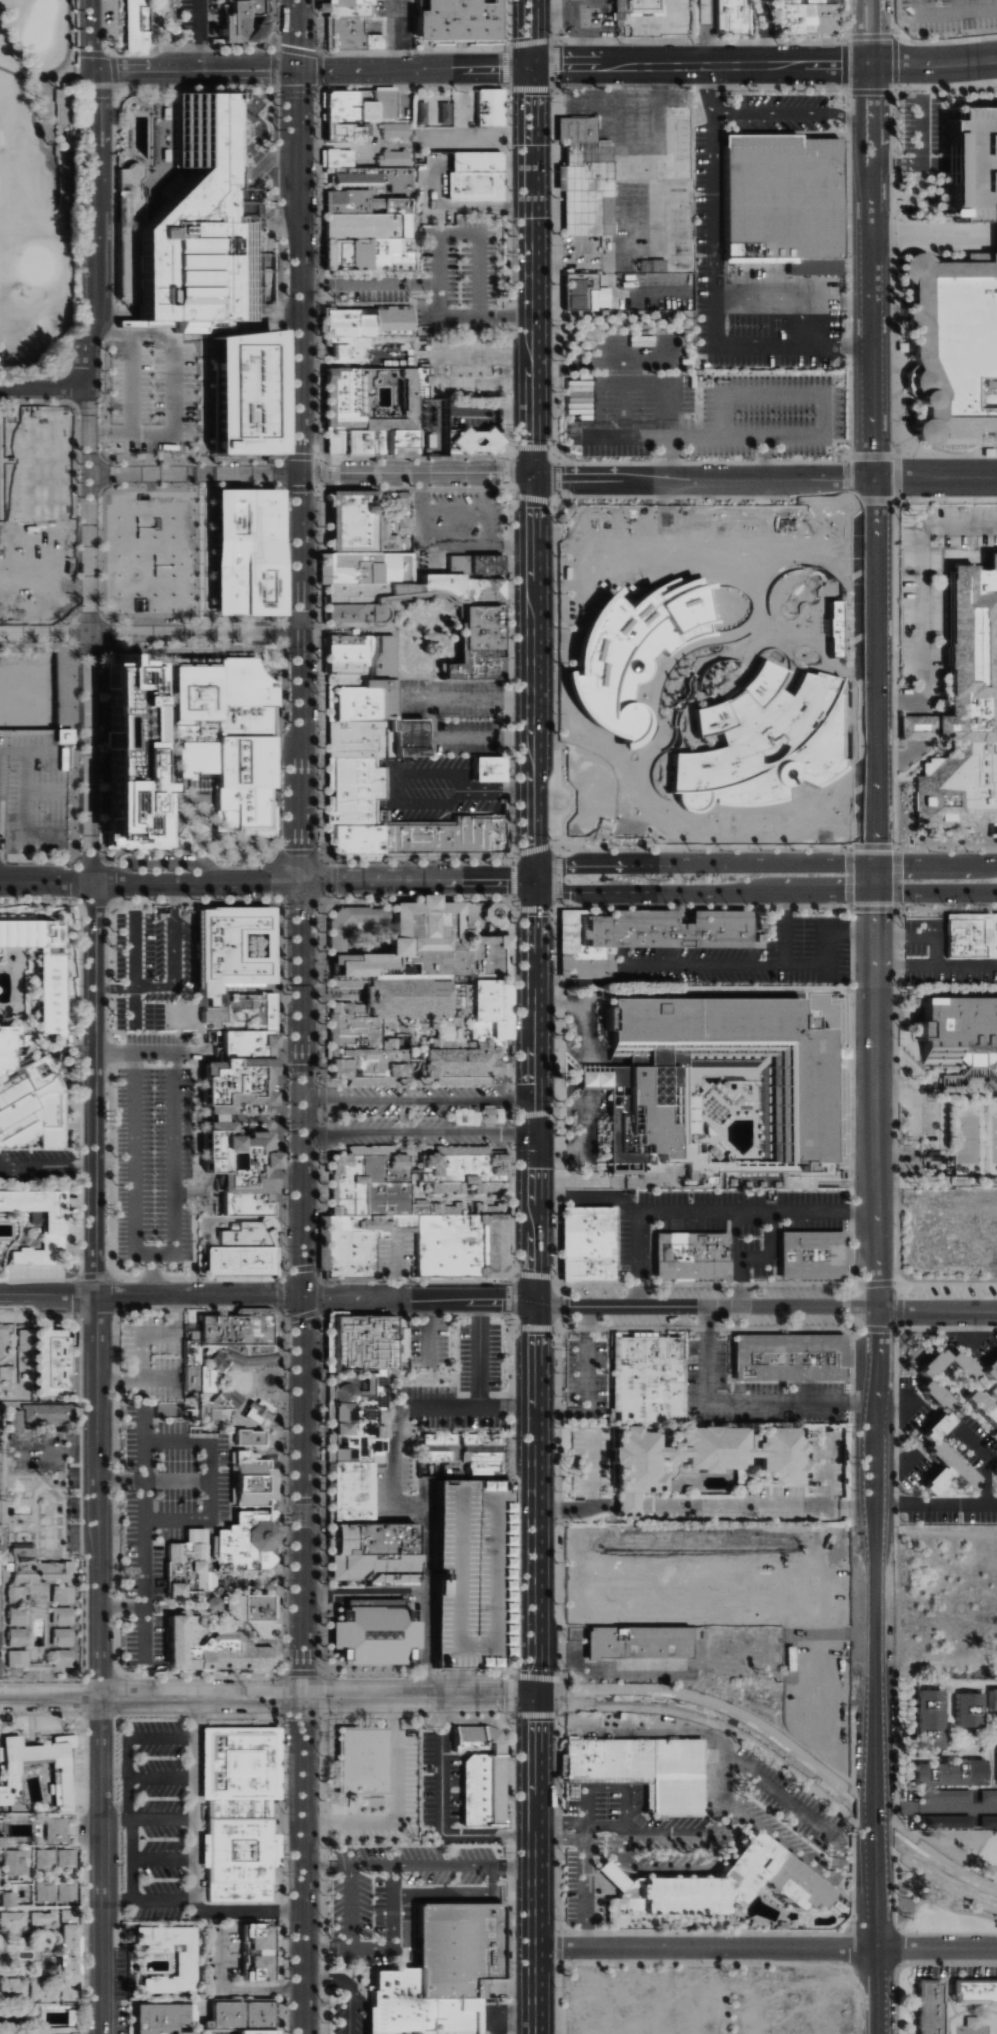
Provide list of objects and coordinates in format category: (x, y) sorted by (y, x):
road: (996, 5)
road: (959, 7)
building: (638, 8)
building: (347, 9)
road: (953, 15)
road: (551, 16)
parking lot: (948, 16)
building: (731, 18)
building: (804, 18)
building: (454, 20)
parking lot: (202, 21)
building: (243, 21)
building: (135, 26)
road: (526, 32)
road: (576, 32)
road: (700, 32)
road: (763, 32)
road: (868, 32)
road: (398, 34)
road: (199, 35)
building: (350, 38)
road: (932, 63)
traffic signals: (529, 65)
road: (698, 65)
road: (414, 67)
road: (196, 70)
traffic signals: (299, 70)
road: (116, 85)
road: (868, 93)
building: (243, 103)
building: (358, 106)
road: (941, 107)
building: (488, 108)
road: (791, 111)
building: (397, 130)
building: (344, 131)
parking lot: (939, 144)
building: (974, 152)
building: (395, 157)
building: (328, 159)
building: (133, 176)
building: (474, 177)
park: (37, 178)
building: (375, 180)
building: (994, 180)
road: (247, 191)
road: (94, 202)
building: (780, 202)
building: (361, 203)
road: (933, 205)
road: (977, 208)
building: (367, 227)
building: (196, 229)
building: (366, 257)
road: (438, 260)
road: (530, 272)
parking lot: (458, 279)
road: (714, 281)
road: (369, 284)
building: (588, 292)
road: (870, 300)
building: (367, 325)
road: (238, 328)
building: (954, 343)
building: (350, 353)
road: (133, 384)
road: (175, 384)
road: (20, 387)
building: (257, 393)
parking lot: (161, 394)
parking lot: (706, 414)
power substation: (428, 426)
road: (794, 437)
road: (301, 439)
building: (483, 440)
building: (369, 442)
road: (665, 459)
traffic signals: (301, 473)
road: (311, 473)
road: (702, 479)
road: (934, 479)
traffic signals: (532, 480)
road: (470, 508)
building: (351, 522)
building: (380, 523)
road: (445, 540)
building: (253, 552)
building: (846, 553)
building: (364, 567)
road: (921, 588)
building: (399, 595)
road: (46, 637)
road: (197, 637)
traffic signals: (301, 637)
building: (474, 645)
building: (359, 654)
road: (872, 671)
road: (532, 679)
road: (469, 696)
building: (357, 697)
road: (899, 701)
building: (964, 714)
building: (66, 733)
road: (486, 735)
building: (232, 736)
building: (374, 738)
building: (142, 760)
road: (901, 762)
building: (486, 769)
road: (179, 788)
parking lot: (33, 794)
building: (349, 805)
road: (762, 863)
traffic signals: (873, 864)
road: (873, 877)
traffic signals: (532, 878)
road: (416, 879)
traffic signals: (301, 880)
road: (150, 881)
road: (701, 891)
traffic signals: (874, 891)
road: (935, 891)
building: (493, 913)
road: (919, 936)
building: (640, 937)
building: (971, 937)
building: (334, 940)
building: (428, 945)
road: (827, 946)
building: (229, 949)
road: (137, 953)
road: (743, 963)
road: (935, 965)
building: (45, 967)
road: (175, 973)
road: (587, 1009)
building: (211, 1015)
building: (362, 1035)
building: (959, 1039)
building: (11, 1047)
road: (586, 1081)
building: (631, 1081)
road: (417, 1099)
building: (35, 1107)
building: (476, 1116)
building: (219, 1125)
road: (417, 1132)
road: (920, 1132)
park: (974, 1141)
road: (172, 1143)
road: (583, 1145)
parking lot: (39, 1168)
road: (48, 1168)
building: (462, 1171)
road: (97, 1184)
road: (588, 1195)
road: (664, 1210)
road: (751, 1210)
road: (766, 1214)
building: (399, 1221)
building: (52, 1231)
building: (248, 1233)
building: (587, 1243)
building: (812, 1254)
building: (691, 1255)
building: (240, 1260)
road: (395, 1265)
road: (151, 1296)
traffic signals: (302, 1296)
road: (900, 1306)
road: (649, 1307)
road: (429, 1329)
road: (948, 1329)
building: (233, 1330)
building: (4, 1336)
building: (25, 1340)
building: (357, 1342)
building: (240, 1355)
building: (788, 1356)
building: (54, 1362)
building: (190, 1364)
building: (990, 1367)
building: (8, 1370)
fountain: (269, 1378)
building: (205, 1379)
building: (924, 1379)
road: (478, 1380)
building: (645, 1380)
road: (746, 1402)
building: (216, 1405)
building: (981, 1408)
building: (257, 1410)
building: (188, 1412)
building: (44, 1415)
building: (357, 1415)
building: (1, 1424)
building: (250, 1438)
building: (460, 1452)
building: (704, 1454)
road: (534, 1455)
road: (302, 1457)
building: (942, 1459)
road: (211, 1462)
road: (876, 1462)
building: (0, 1471)
building: (994, 1471)
road: (176, 1477)
building: (250, 1479)
building: (348, 1491)
road: (902, 1503)
road: (962, 1503)
road: (632, 1505)
road: (760, 1505)
road: (577, 1506)
road: (416, 1508)
road: (143, 1520)
building: (369, 1538)
building: (246, 1542)
building: (41, 1567)
building: (372, 1569)
building: (188, 1570)
building: (471, 1573)
parking garage: (471, 1573)
building: (0, 1588)
building: (64, 1594)
building: (19, 1604)
road: (143, 1611)
building: (253, 1612)
building: (63, 1615)
building: (373, 1632)
building: (18, 1636)
building: (63, 1636)
building: (643, 1641)
building: (209, 1648)
building: (19, 1657)
building: (64, 1658)
road: (458, 1682)
road: (559, 1684)
traffic signals: (537, 1694)
road: (268, 1697)
traffic signals: (303, 1697)
building: (991, 1700)
road: (508, 1708)
building: (966, 1709)
road: (532, 1719)
building: (927, 1719)
road: (144, 1736)
building: (996, 1753)
building: (360, 1761)
building: (641, 1769)
building: (480, 1772)
building: (947, 1772)
building: (60, 1775)
road: (163, 1777)
road: (723, 1782)
building: (943, 1795)
building: (987, 1795)
road: (196, 1803)
road: (935, 1808)
building: (238, 1811)
road: (439, 1812)
road: (130, 1813)
building: (942, 1821)
building: (987, 1821)
road: (619, 1826)
building: (58, 1829)
road: (581, 1829)
road: (132, 1843)
road: (723, 1843)
building: (46, 1857)
building: (68, 1858)
road: (165, 1858)
building: (17, 1861)
road: (419, 1861)
building: (0, 1876)
park: (946, 1881)
building: (713, 1886)
road: (590, 1888)
building: (46, 1890)
building: (68, 1891)
road: (459, 1892)
building: (11, 1898)
road: (117, 1899)
road: (158, 1899)
road: (348, 1904)
road: (241, 1909)
building: (44, 1918)
building: (14, 1921)
road: (390, 1946)
road: (766, 1948)
building: (255, 1951)
building: (72, 1954)
building: (184, 1965)
building: (439, 1972)
building: (14, 1987)
road: (348, 1987)
road: (235, 1988)
building: (45, 1989)
building: (973, 1992)
building: (927, 2006)
building: (232, 2015)
road: (507, 2016)
building: (165, 2018)
building: (975, 2022)
building: (251, 2031)

